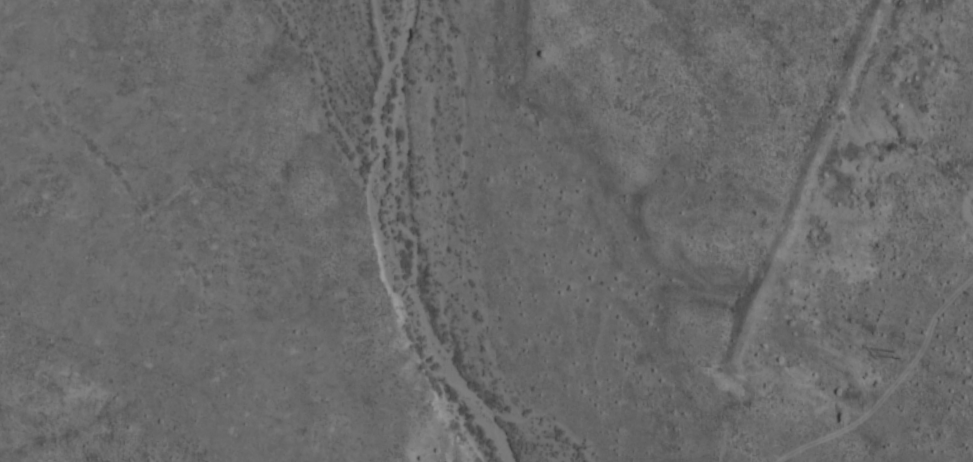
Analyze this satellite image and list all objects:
power tower: (903, 360)

